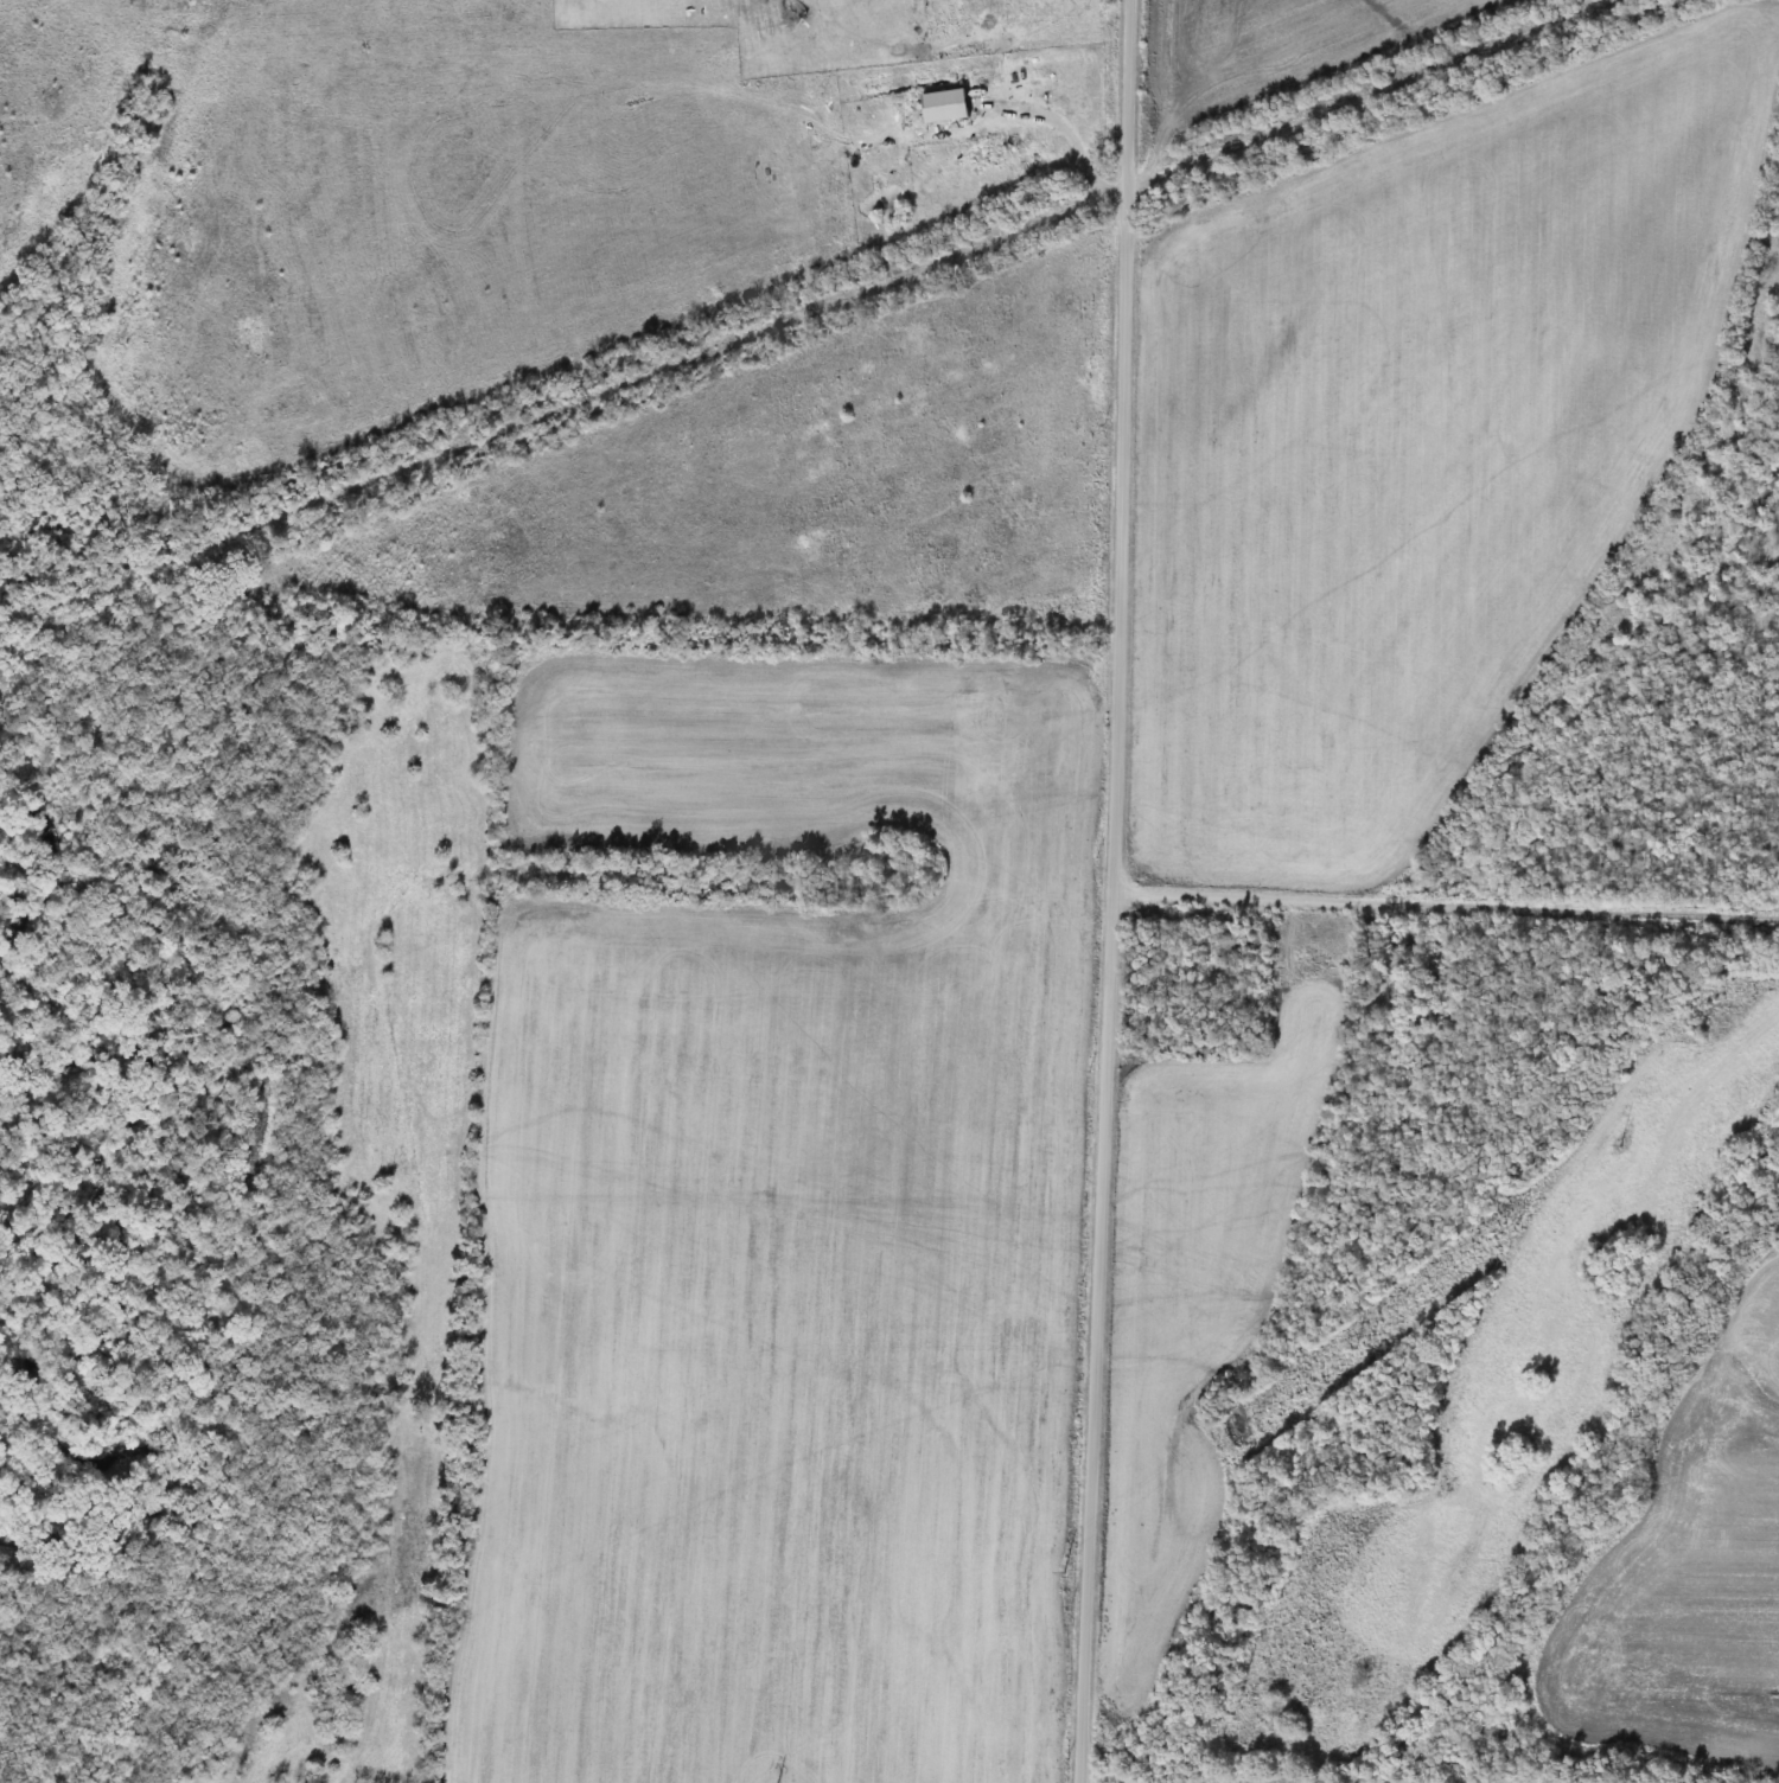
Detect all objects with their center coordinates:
building: (952, 109)
road: (1084, 143)
road: (1110, 891)
road: (1445, 895)
power tower: (1646, 1148)
power tower: (1378, 1350)
power tower: (1077, 1577)

